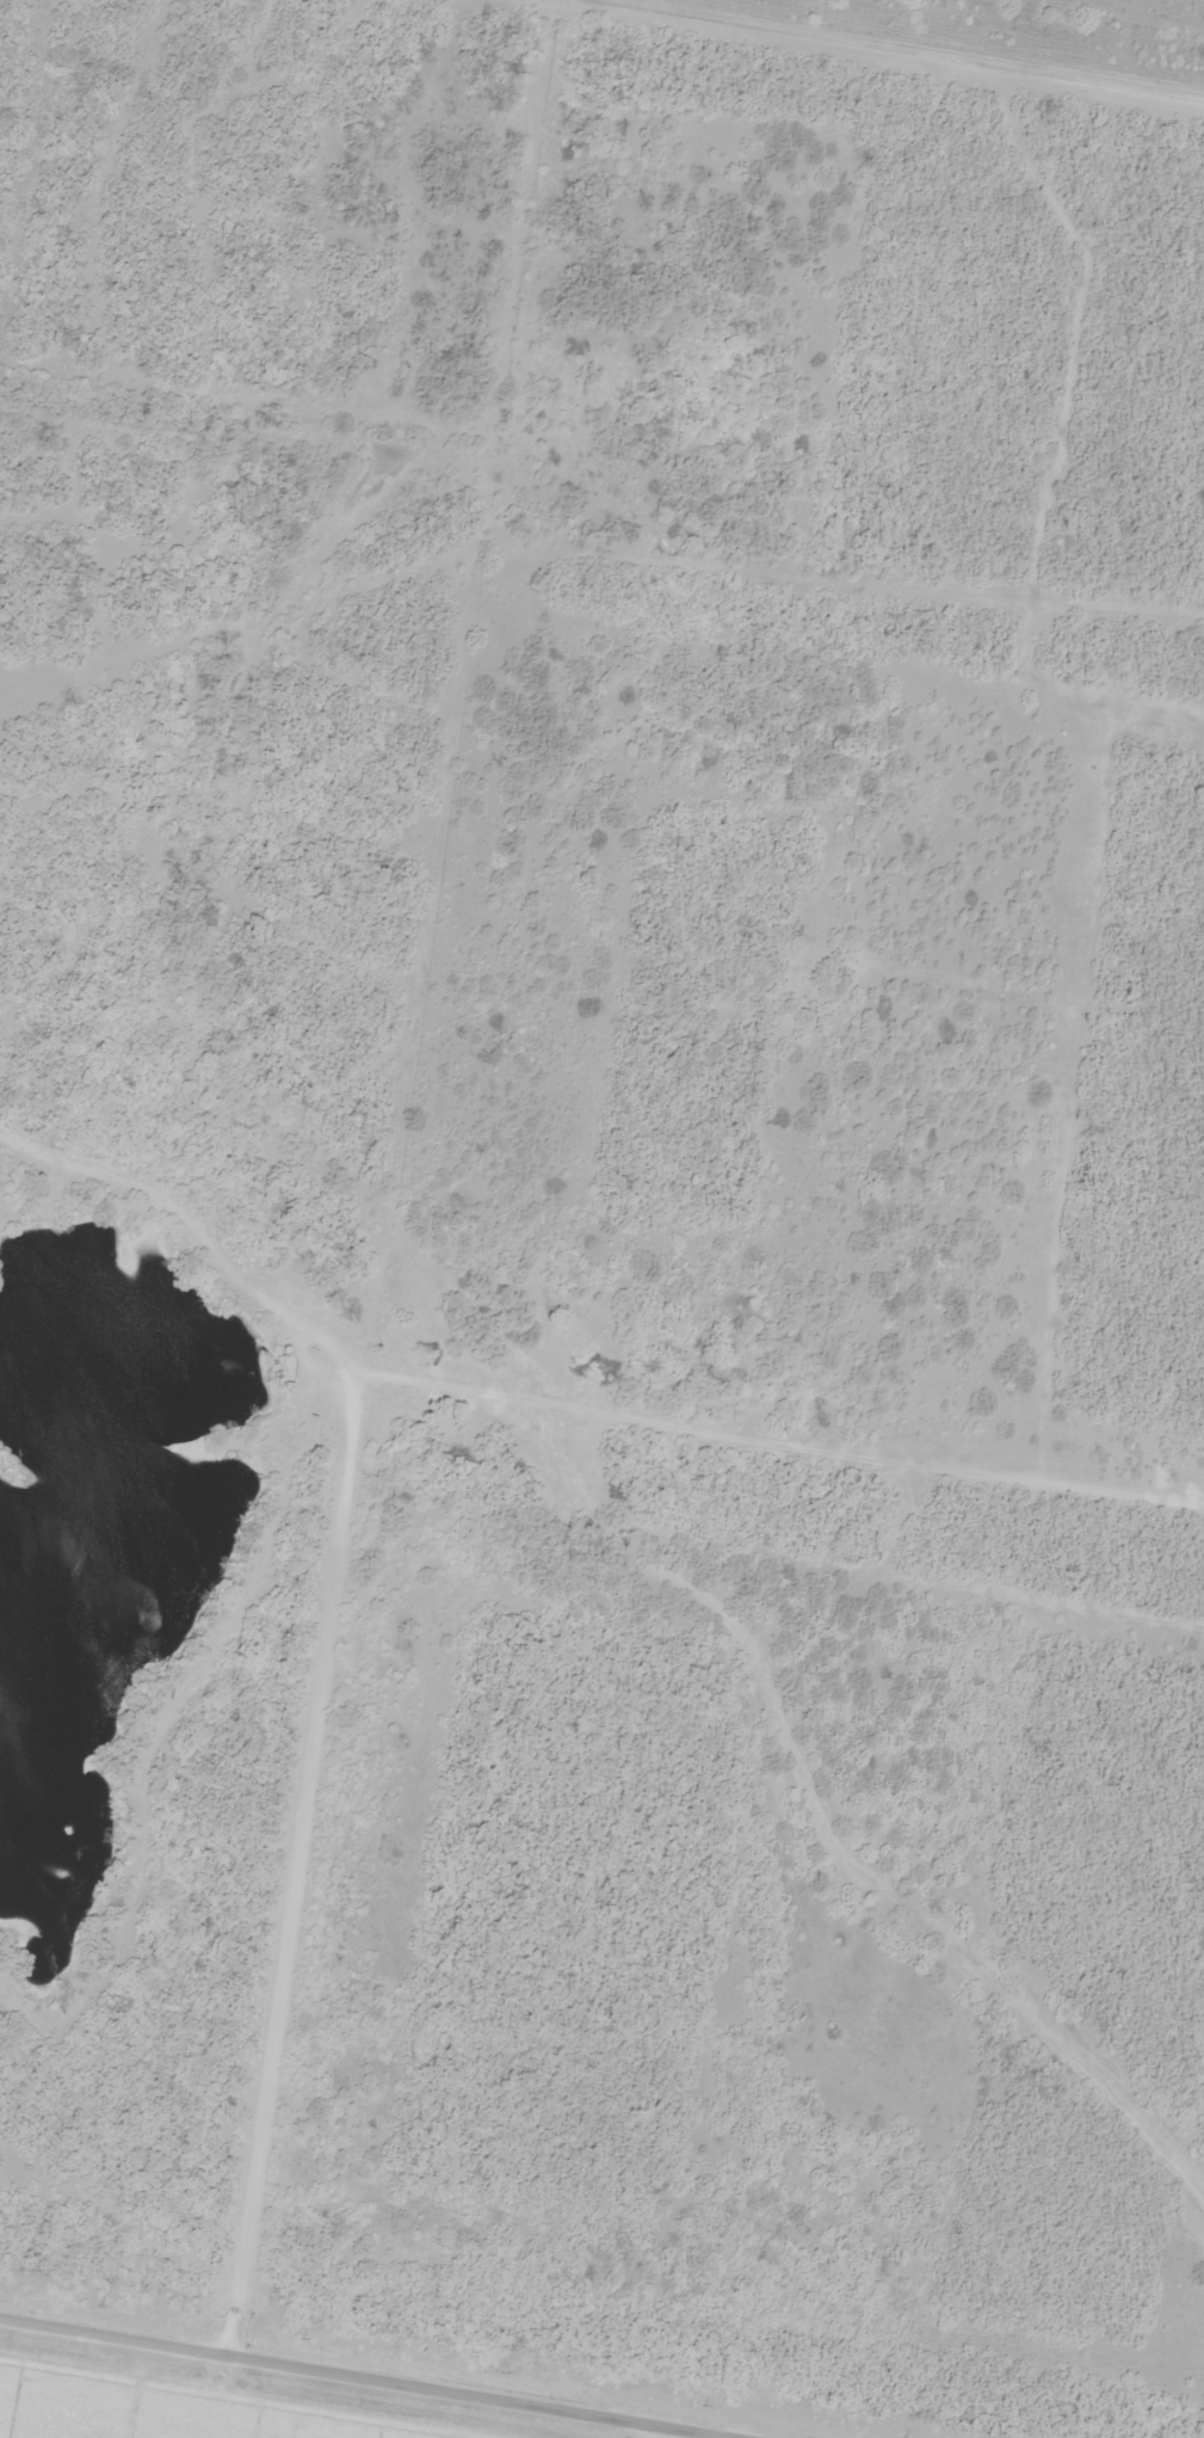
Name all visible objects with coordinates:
railway: (526, 2350)
road: (365, 2377)

